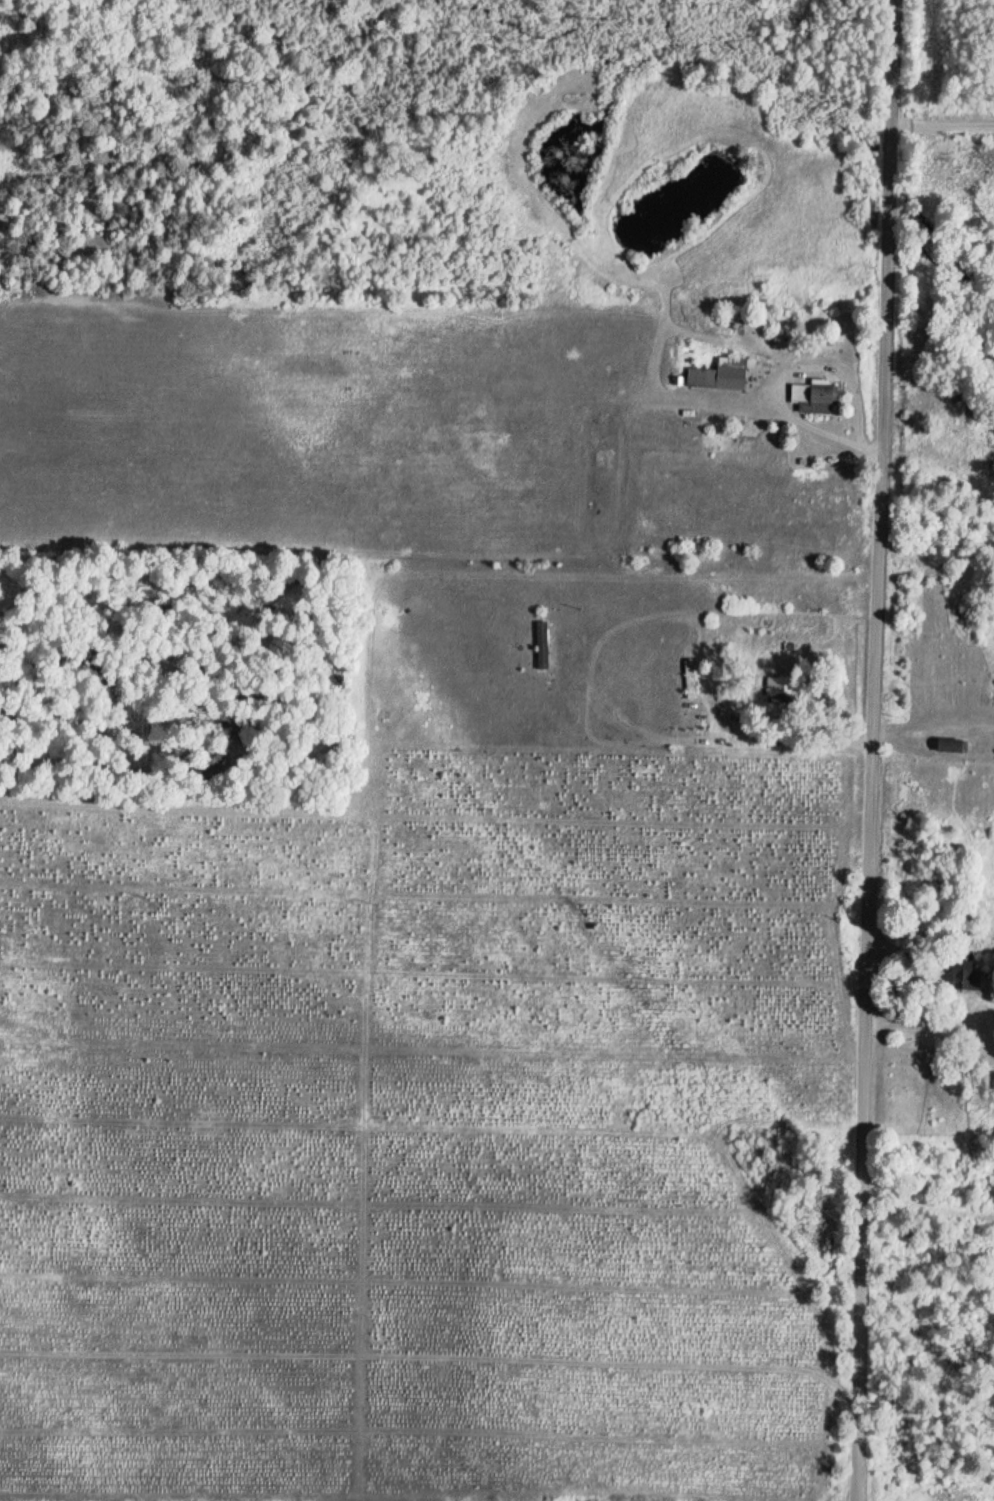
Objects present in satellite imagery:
road: (942, 134)
building: (723, 375)
building: (817, 398)
building: (544, 645)
building: (692, 680)
road: (877, 686)
building: (779, 690)
building: (952, 745)
building: (969, 978)
road: (859, 1436)

